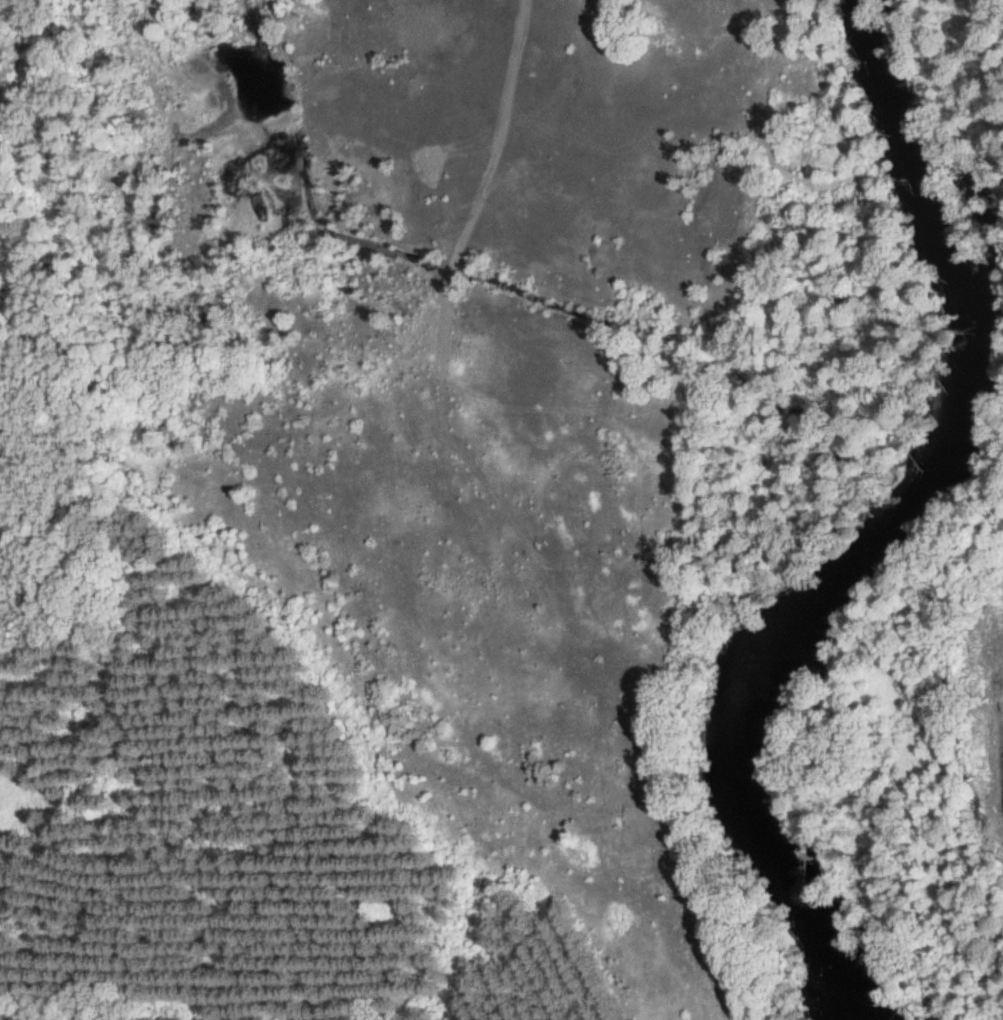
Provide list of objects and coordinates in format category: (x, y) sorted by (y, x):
river: (888, 532)
quarry: (989, 718)

